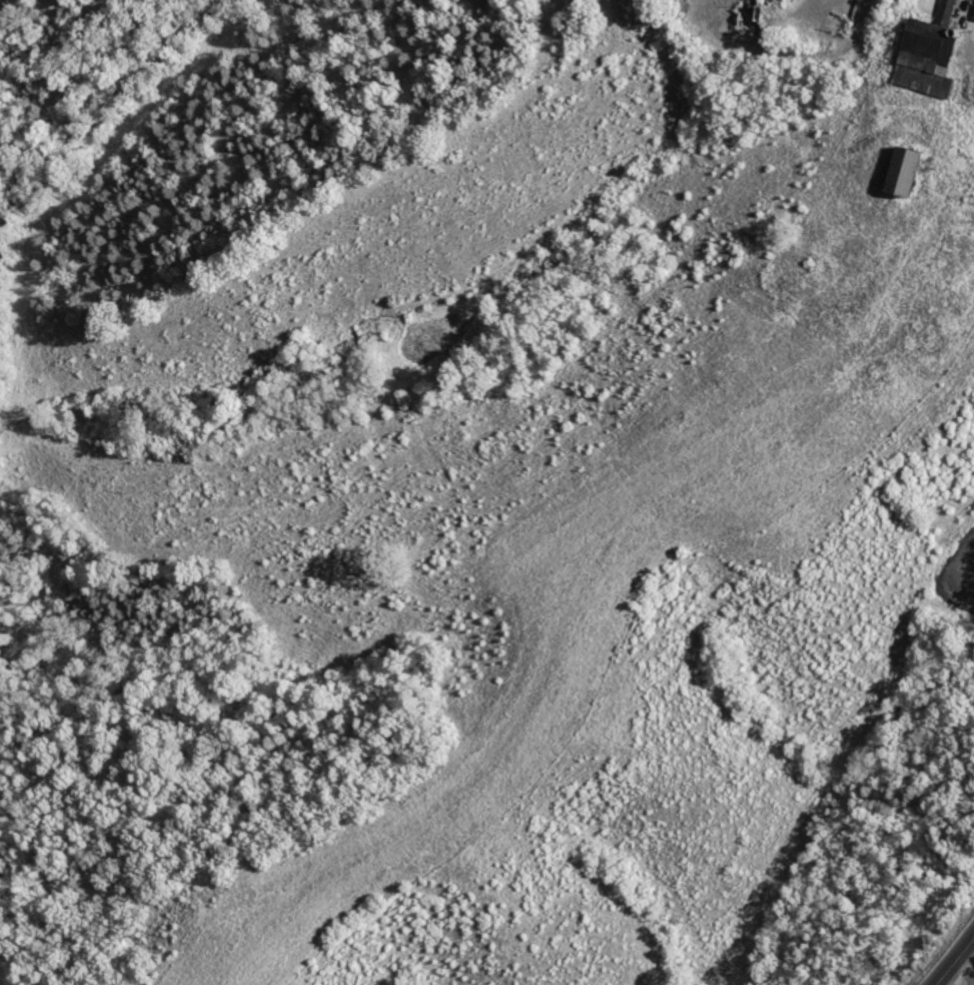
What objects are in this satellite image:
building: (920, 58)
building: (894, 170)
road: (956, 962)

